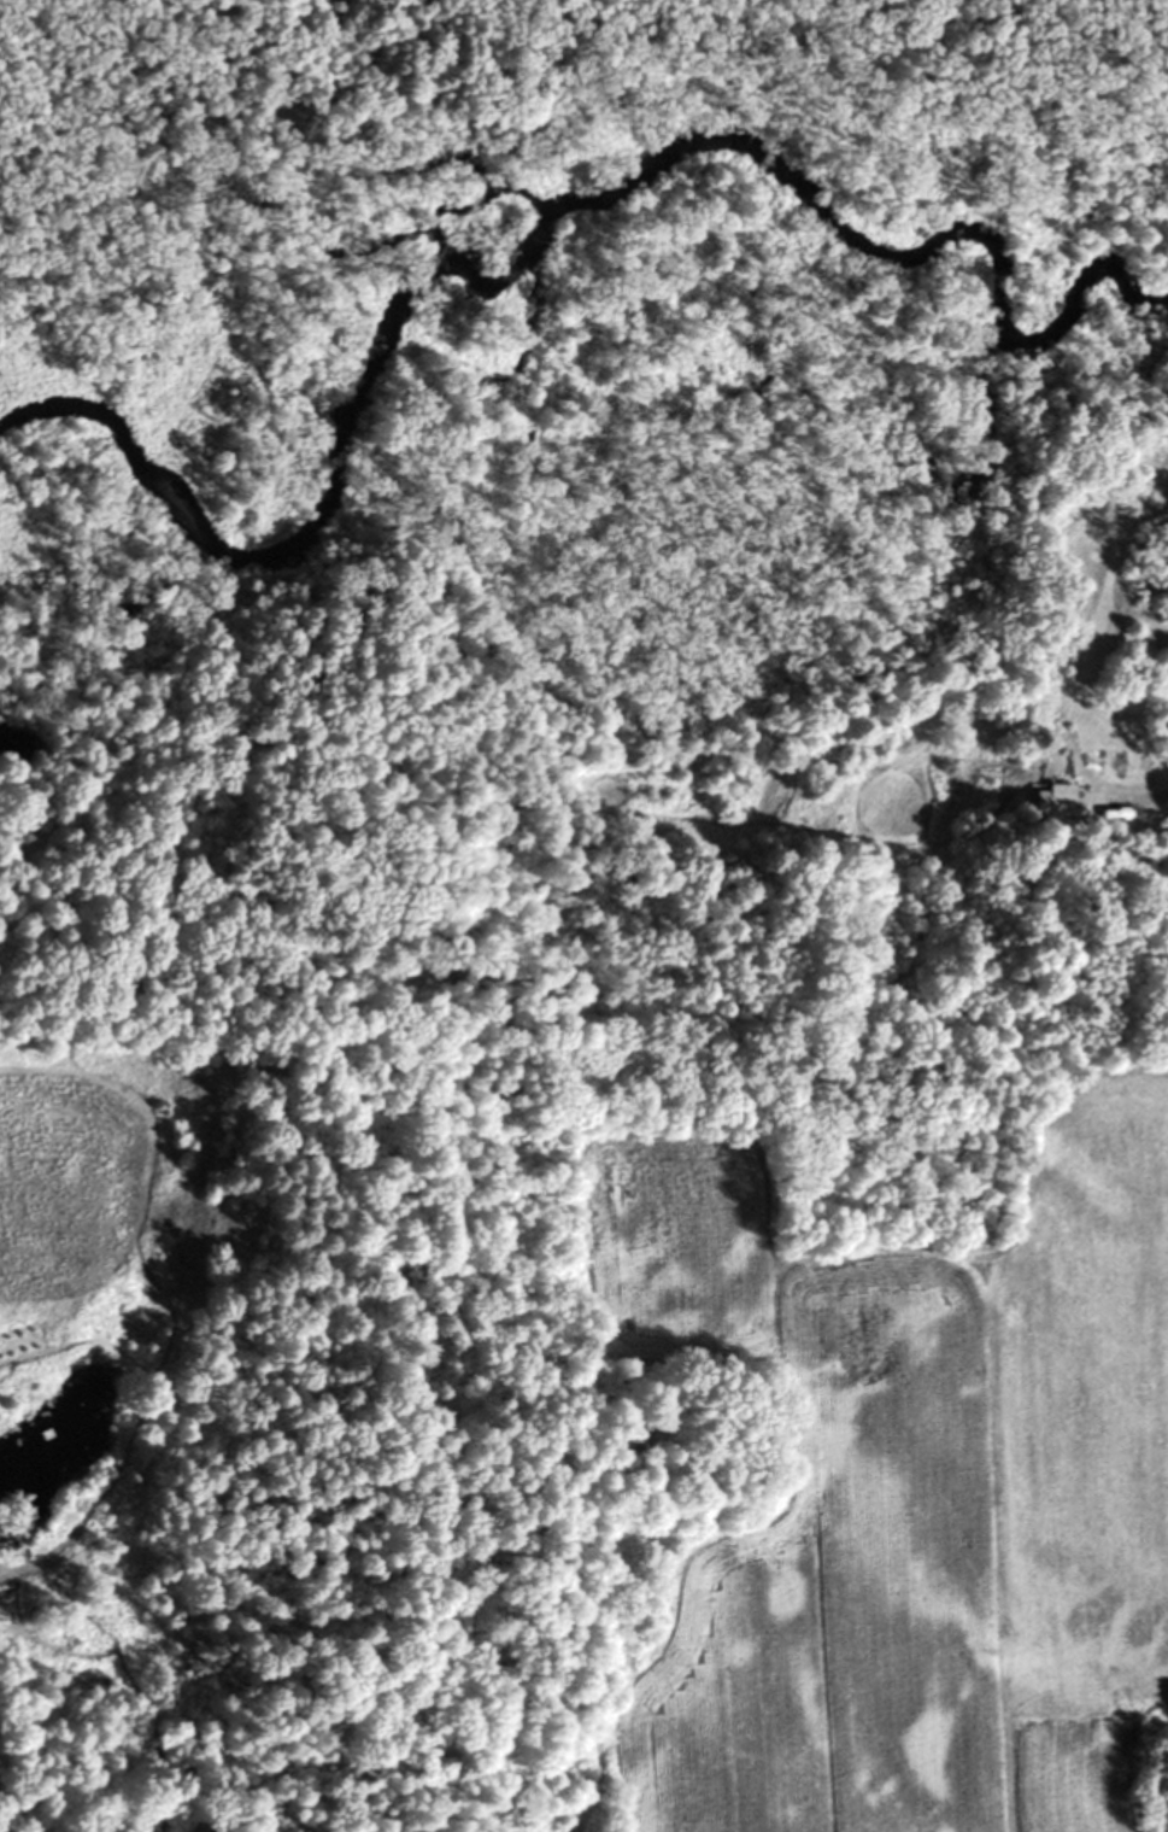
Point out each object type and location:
river: (533, 177)
building: (1052, 801)

